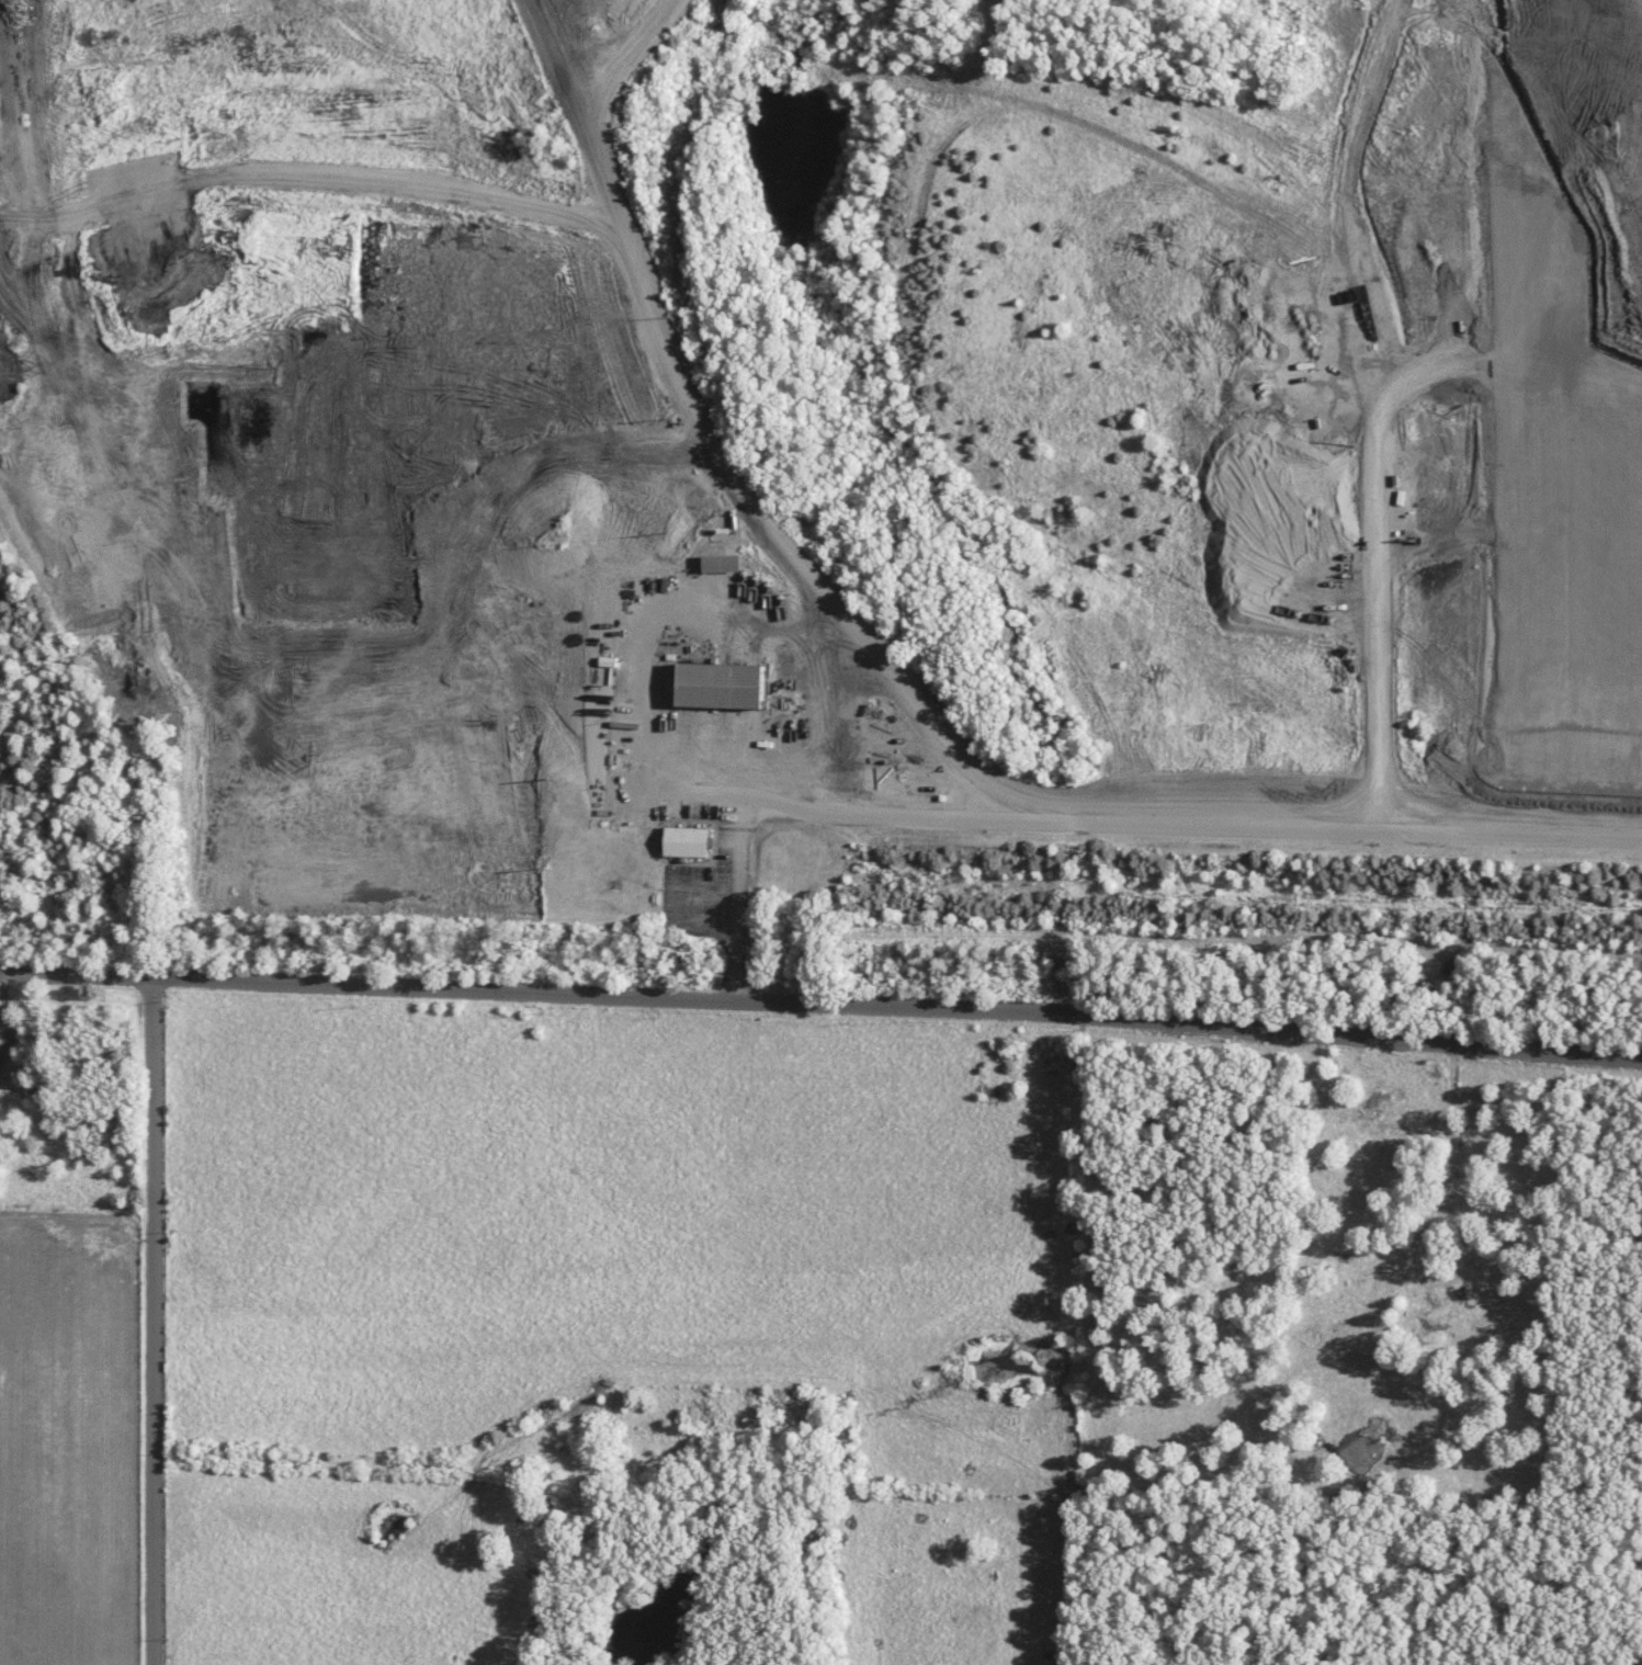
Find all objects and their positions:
building: (727, 563)
building: (726, 686)
road: (1094, 820)
building: (691, 841)
road: (822, 1005)
building: (1371, 1108)
building: (1346, 1315)
road: (151, 1323)
building: (1441, 1323)

